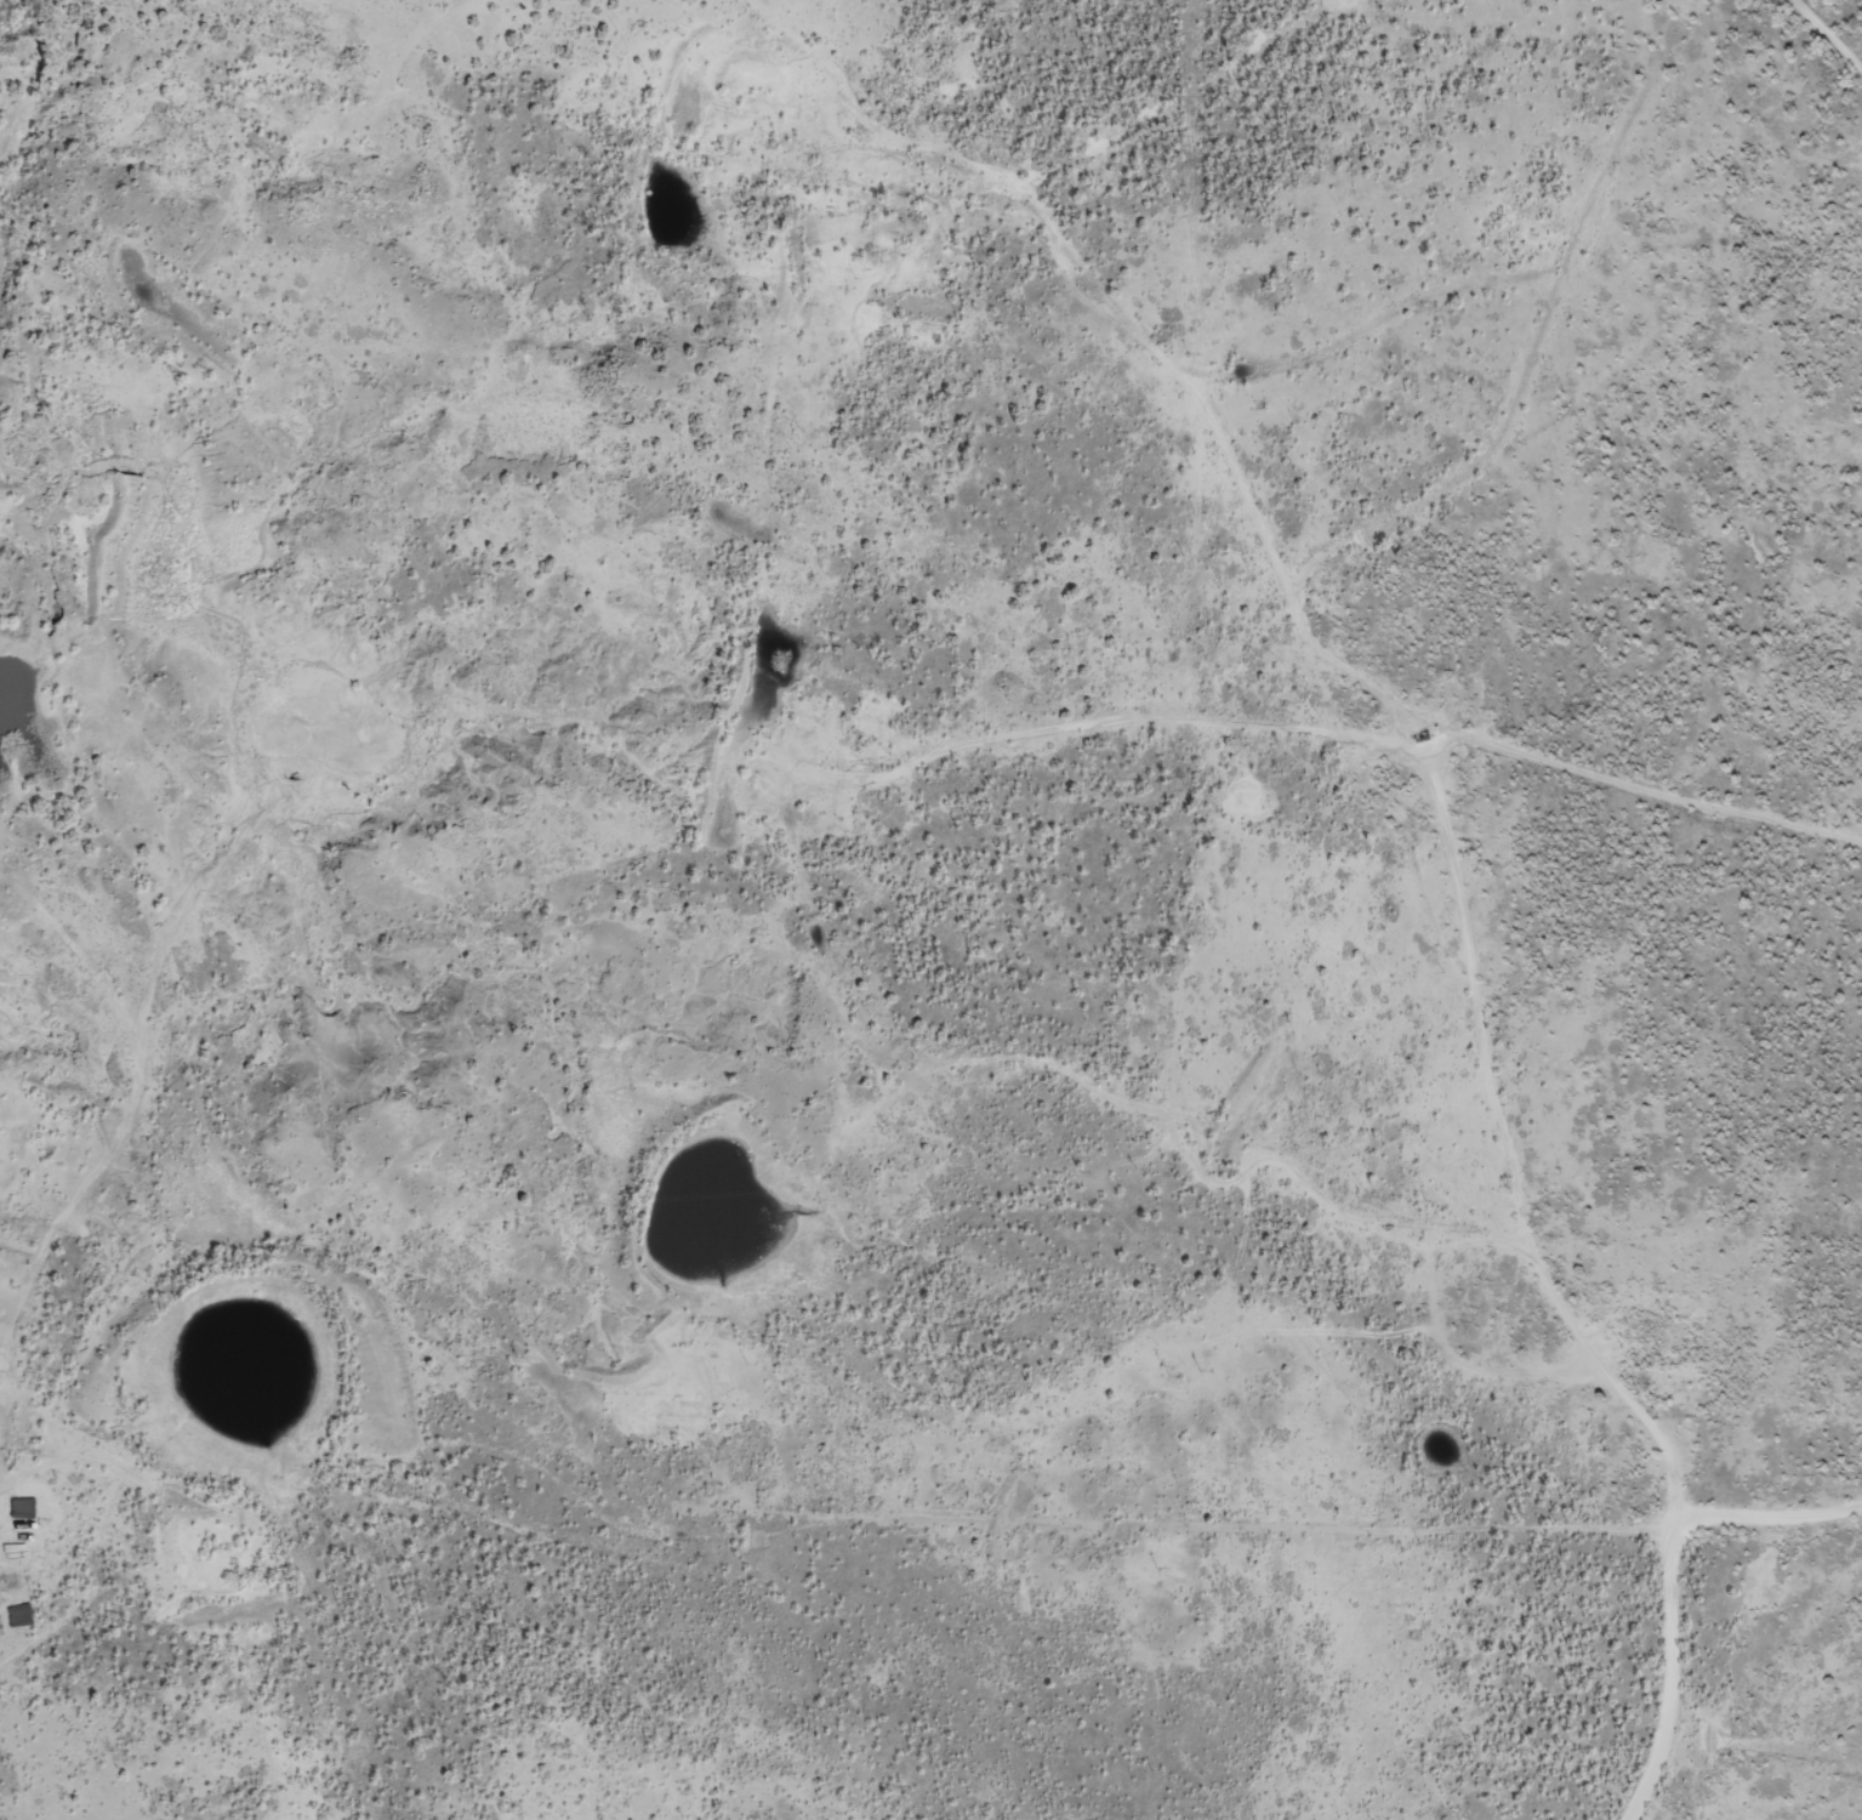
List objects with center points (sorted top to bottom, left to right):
road: (1758, 11)
road: (1625, 252)
road: (866, 383)
road: (1531, 1093)
road: (1143, 1553)
road: (1783, 1736)

